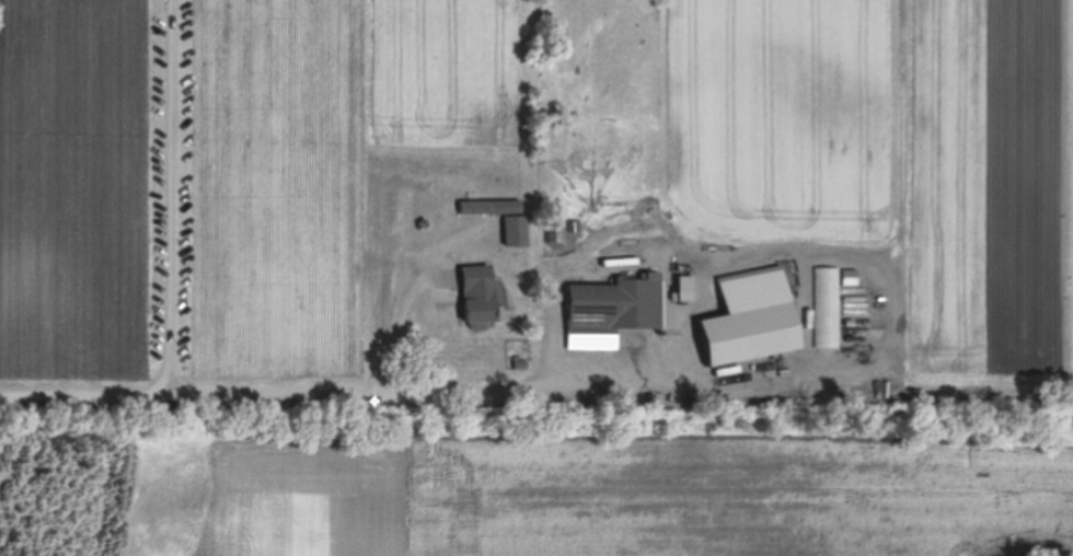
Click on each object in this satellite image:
road: (172, 197)
building: (494, 208)
building: (482, 293)
building: (618, 305)
building: (752, 320)
road: (401, 321)
road: (343, 397)

